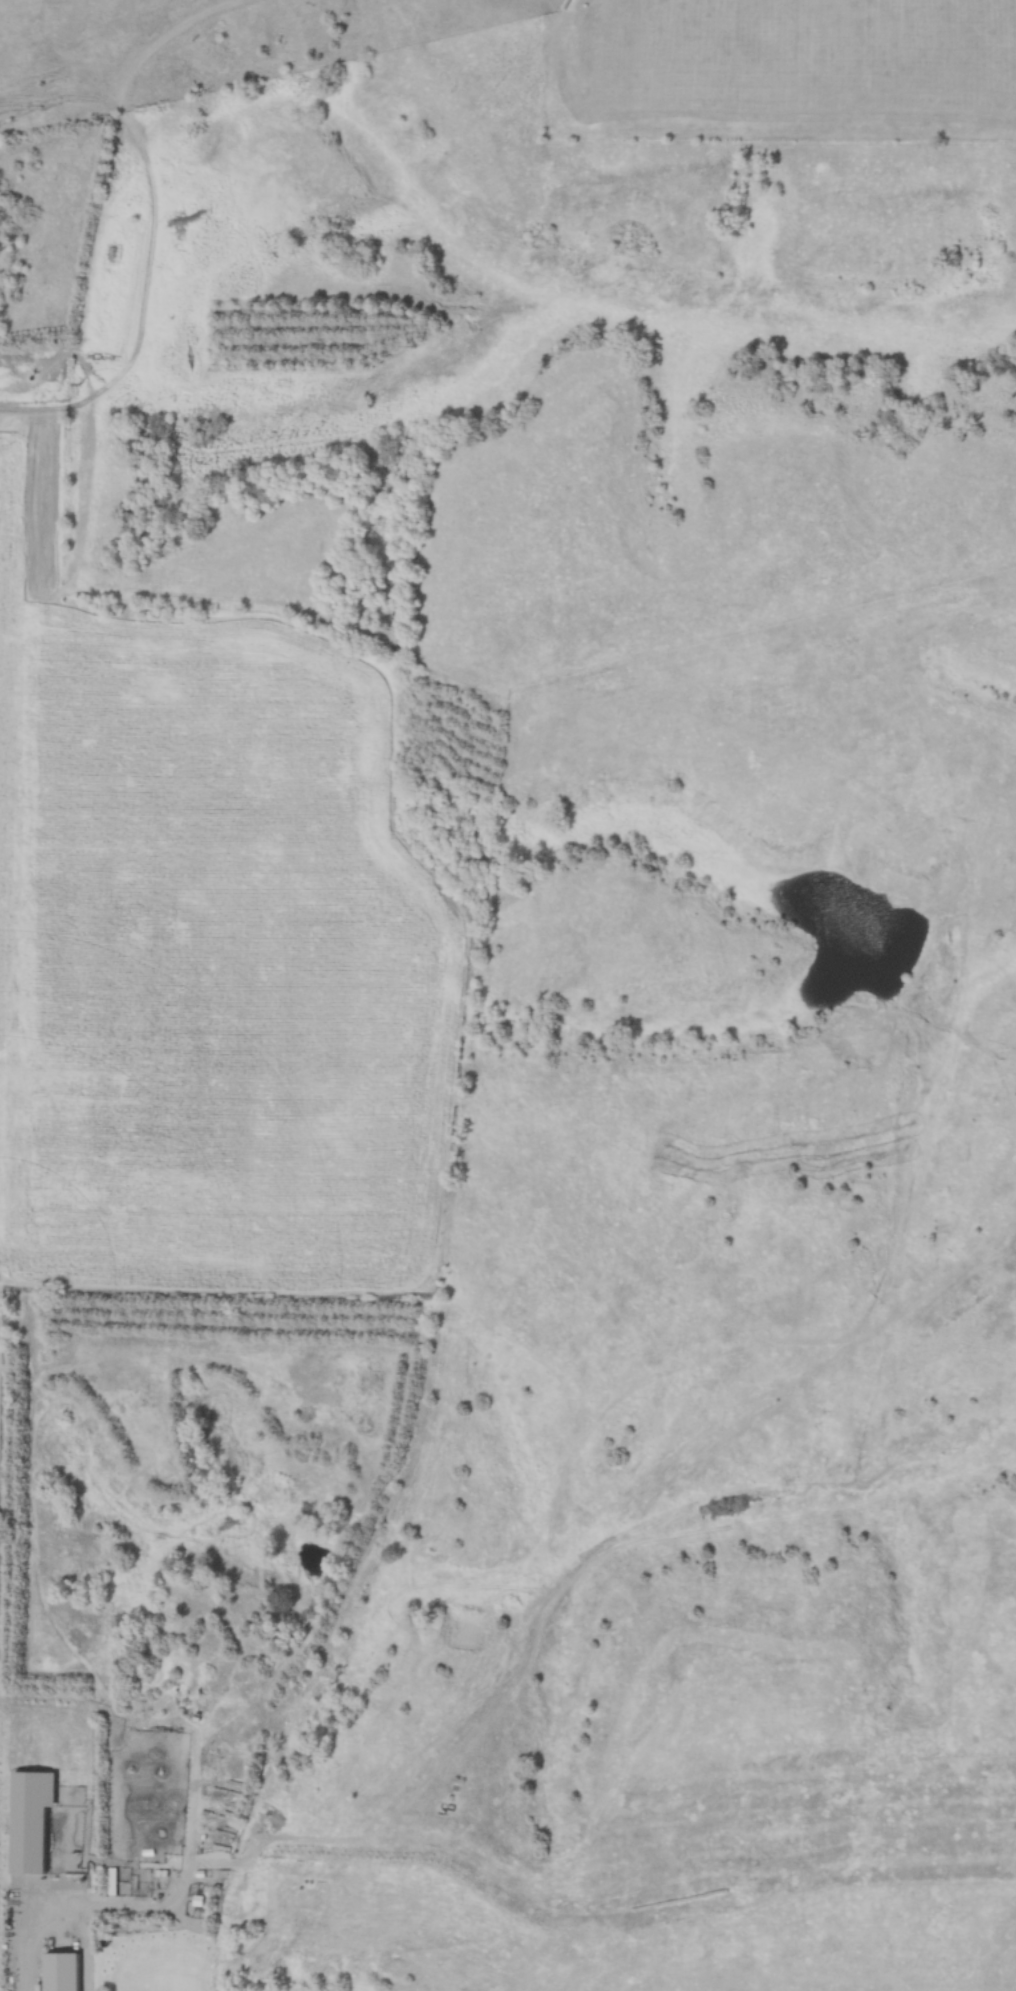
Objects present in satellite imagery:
building: (171, 1979)

